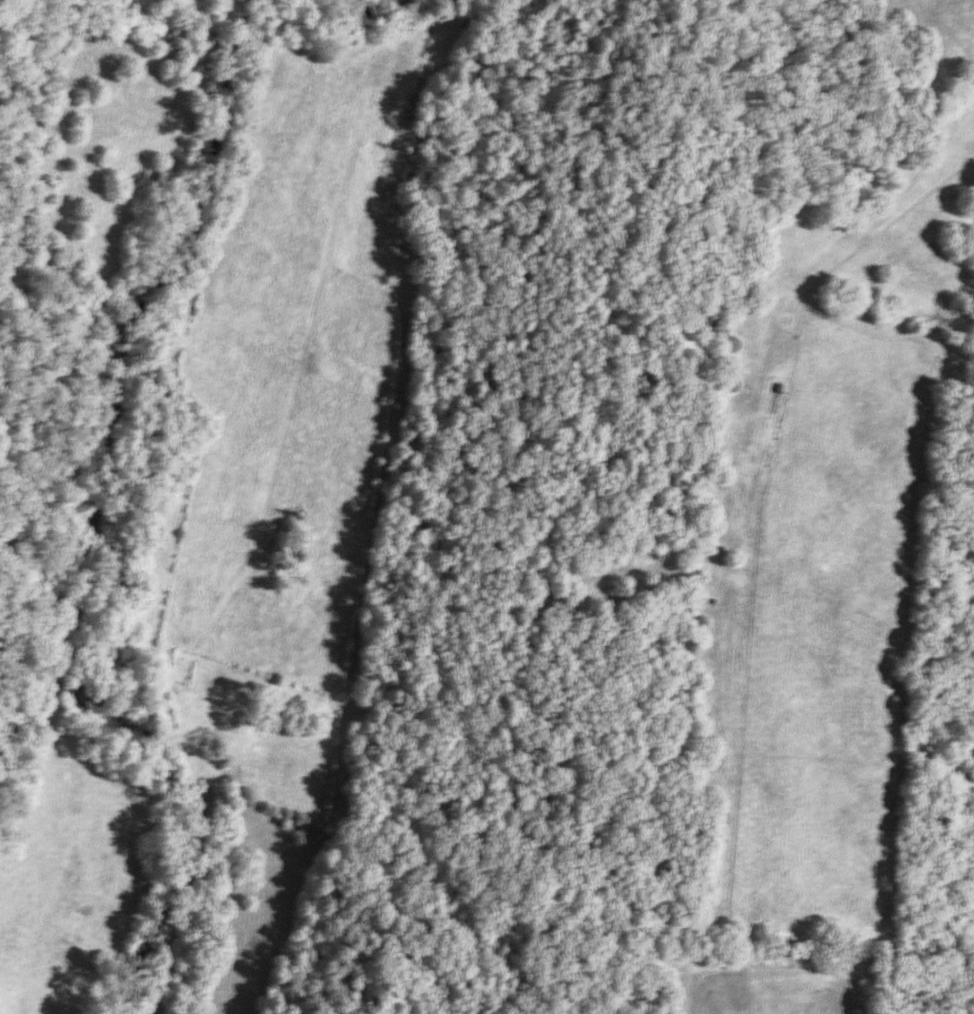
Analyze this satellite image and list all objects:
building: (778, 394)

